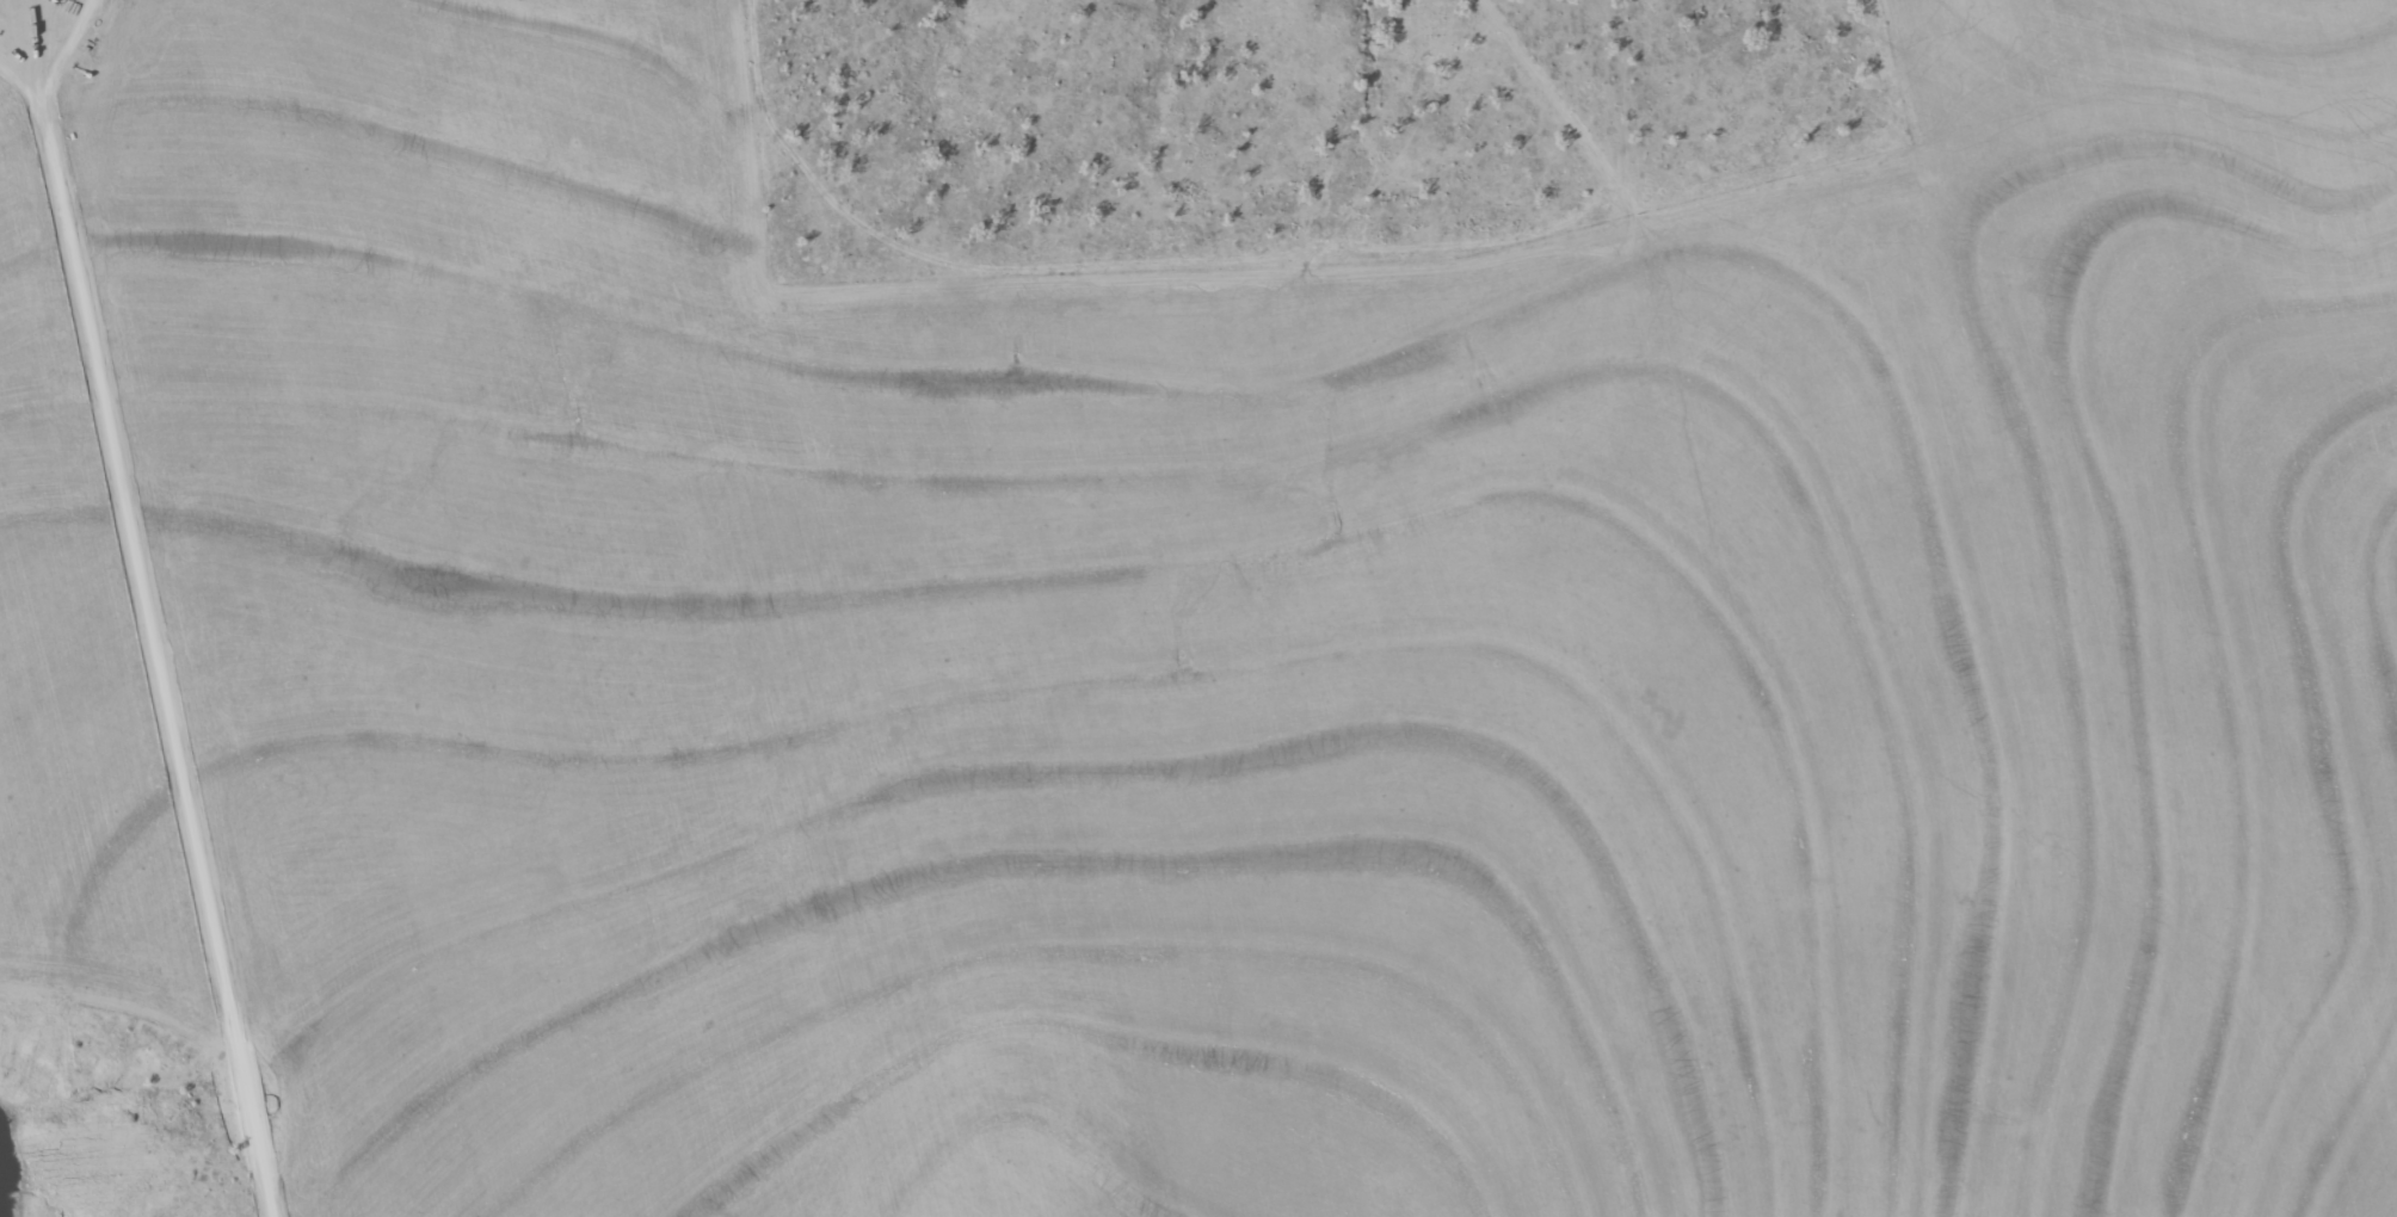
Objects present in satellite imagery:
road: (1985, 605)
road: (186, 1048)

